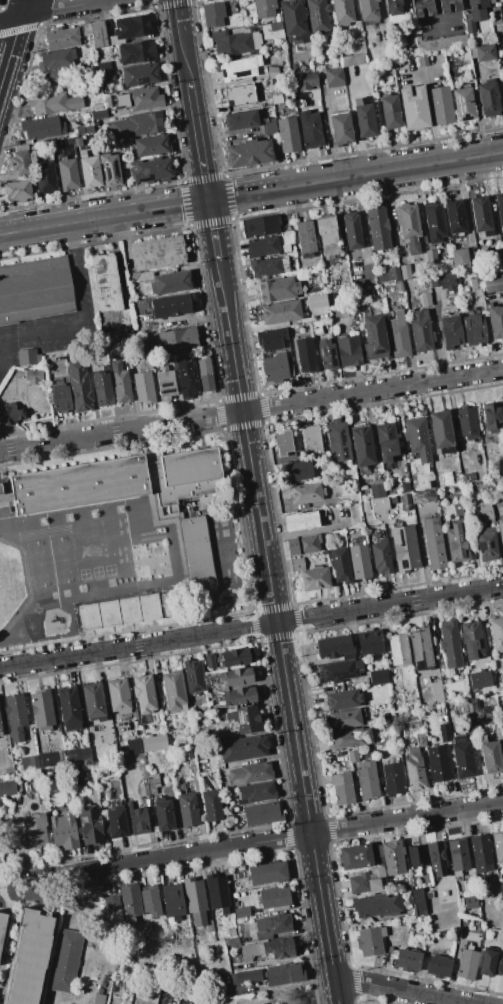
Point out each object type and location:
building: (491, 1)
building: (481, 3)
road: (78, 4)
building: (422, 7)
building: (456, 7)
road: (23, 8)
building: (264, 8)
building: (368, 9)
building: (394, 11)
building: (343, 12)
building: (475, 13)
building: (213, 14)
road: (25, 15)
building: (318, 15)
building: (293, 16)
building: (495, 16)
building: (277, 17)
building: (470, 26)
building: (131, 28)
building: (86, 29)
building: (272, 31)
building: (98, 34)
building: (304, 37)
building: (61, 39)
building: (236, 43)
building: (442, 44)
road: (10, 51)
building: (137, 52)
building: (486, 52)
building: (465, 54)
building: (57, 59)
building: (352, 59)
building: (423, 60)
building: (103, 66)
building: (295, 67)
building: (238, 68)
road: (419, 73)
building: (140, 74)
road: (188, 74)
building: (334, 77)
building: (55, 79)
building: (306, 80)
building: (240, 94)
building: (143, 98)
building: (276, 98)
building: (488, 98)
building: (121, 101)
building: (53, 103)
building: (340, 103)
building: (464, 104)
building: (442, 105)
building: (97, 106)
building: (414, 107)
building: (391, 111)
building: (98, 114)
building: (364, 118)
road: (430, 118)
building: (241, 120)
building: (137, 125)
building: (268, 126)
building: (42, 127)
building: (340, 127)
building: (86, 129)
building: (310, 129)
road: (354, 130)
building: (288, 134)
building: (77, 141)
building: (151, 145)
building: (249, 152)
building: (20, 162)
building: (109, 170)
building: (152, 170)
building: (90, 172)
building: (67, 174)
road: (204, 174)
building: (45, 176)
building: (18, 190)
road: (251, 193)
building: (499, 210)
building: (481, 215)
building: (455, 217)
building: (434, 222)
road: (212, 226)
building: (260, 226)
building: (409, 227)
building: (377, 228)
building: (350, 230)
building: (327, 234)
building: (305, 239)
building: (262, 246)
building: (157, 253)
building: (430, 256)
building: (460, 259)
building: (268, 266)
building: (404, 271)
road: (219, 275)
building: (388, 275)
building: (170, 282)
building: (443, 282)
building: (104, 283)
building: (476, 283)
building: (492, 283)
building: (35, 289)
building: (278, 289)
building: (425, 299)
building: (322, 300)
building: (171, 305)
road: (80, 311)
building: (279, 312)
building: (495, 321)
building: (474, 330)
building: (450, 331)
building: (420, 332)
road: (2, 334)
building: (374, 337)
road: (2, 339)
building: (270, 339)
building: (177, 340)
building: (399, 340)
building: (348, 351)
road: (233, 354)
building: (326, 354)
building: (306, 355)
building: (28, 357)
building: (275, 367)
building: (186, 376)
building: (205, 376)
building: (121, 382)
building: (166, 384)
building: (80, 386)
building: (102, 386)
building: (144, 387)
building: (61, 397)
road: (251, 409)
building: (10, 414)
building: (492, 417)
building: (467, 428)
building: (441, 429)
road: (245, 436)
building: (312, 437)
building: (417, 438)
building: (338, 441)
building: (386, 441)
building: (283, 442)
building: (361, 446)
building: (295, 471)
building: (78, 485)
building: (377, 491)
building: (306, 493)
building: (423, 496)
road: (257, 499)
building: (379, 504)
building: (486, 513)
building: (300, 520)
building: (178, 521)
building: (500, 532)
building: (434, 543)
building: (457, 543)
building: (304, 544)
building: (486, 544)
building: (405, 548)
building: (380, 557)
building: (359, 561)
building: (340, 565)
building: (315, 578)
road: (271, 580)
building: (131, 610)
road: (251, 626)
building: (496, 633)
building: (471, 640)
building: (369, 642)
building: (450, 644)
building: (333, 646)
building: (420, 647)
building: (398, 649)
building: (237, 657)
building: (209, 661)
road: (284, 663)
building: (341, 670)
building: (239, 676)
building: (194, 677)
building: (378, 677)
building: (480, 680)
building: (174, 691)
building: (144, 693)
building: (241, 695)
building: (119, 696)
building: (342, 699)
building: (93, 702)
building: (69, 708)
building: (42, 710)
building: (15, 716)
building: (227, 716)
building: (345, 719)
building: (247, 720)
building: (0, 730)
building: (502, 731)
building: (444, 732)
building: (351, 737)
building: (420, 739)
building: (154, 743)
building: (134, 746)
building: (242, 748)
building: (121, 749)
building: (78, 754)
building: (490, 755)
building: (352, 756)
building: (463, 757)
building: (49, 759)
building: (29, 763)
building: (438, 763)
road: (301, 767)
building: (414, 770)
building: (250, 773)
building: (393, 778)
building: (153, 779)
building: (367, 780)
building: (7, 788)
building: (144, 789)
building: (342, 789)
building: (58, 791)
building: (256, 792)
building: (94, 795)
building: (212, 805)
building: (188, 810)
building: (261, 813)
building: (163, 815)
building: (139, 820)
building: (116, 822)
building: (90, 826)
building: (64, 830)
building: (34, 831)
road: (278, 838)
building: (498, 846)
building: (481, 853)
building: (416, 855)
building: (458, 855)
building: (355, 856)
building: (393, 856)
building: (437, 857)
building: (267, 872)
building: (368, 881)
building: (217, 891)
building: (274, 897)
building: (173, 899)
building: (150, 900)
building: (195, 901)
building: (418, 901)
building: (444, 901)
building: (470, 901)
building: (111, 902)
building: (130, 902)
building: (376, 904)
building: (241, 911)
road: (325, 918)
building: (273, 924)
building: (209, 926)
building: (3, 930)
building: (232, 941)
building: (371, 941)
building: (279, 948)
building: (251, 951)
building: (29, 958)
building: (407, 959)
building: (65, 961)
building: (490, 963)
building: (467, 964)
building: (438, 966)
building: (283, 974)
building: (247, 976)
road: (403, 989)
building: (99, 999)

